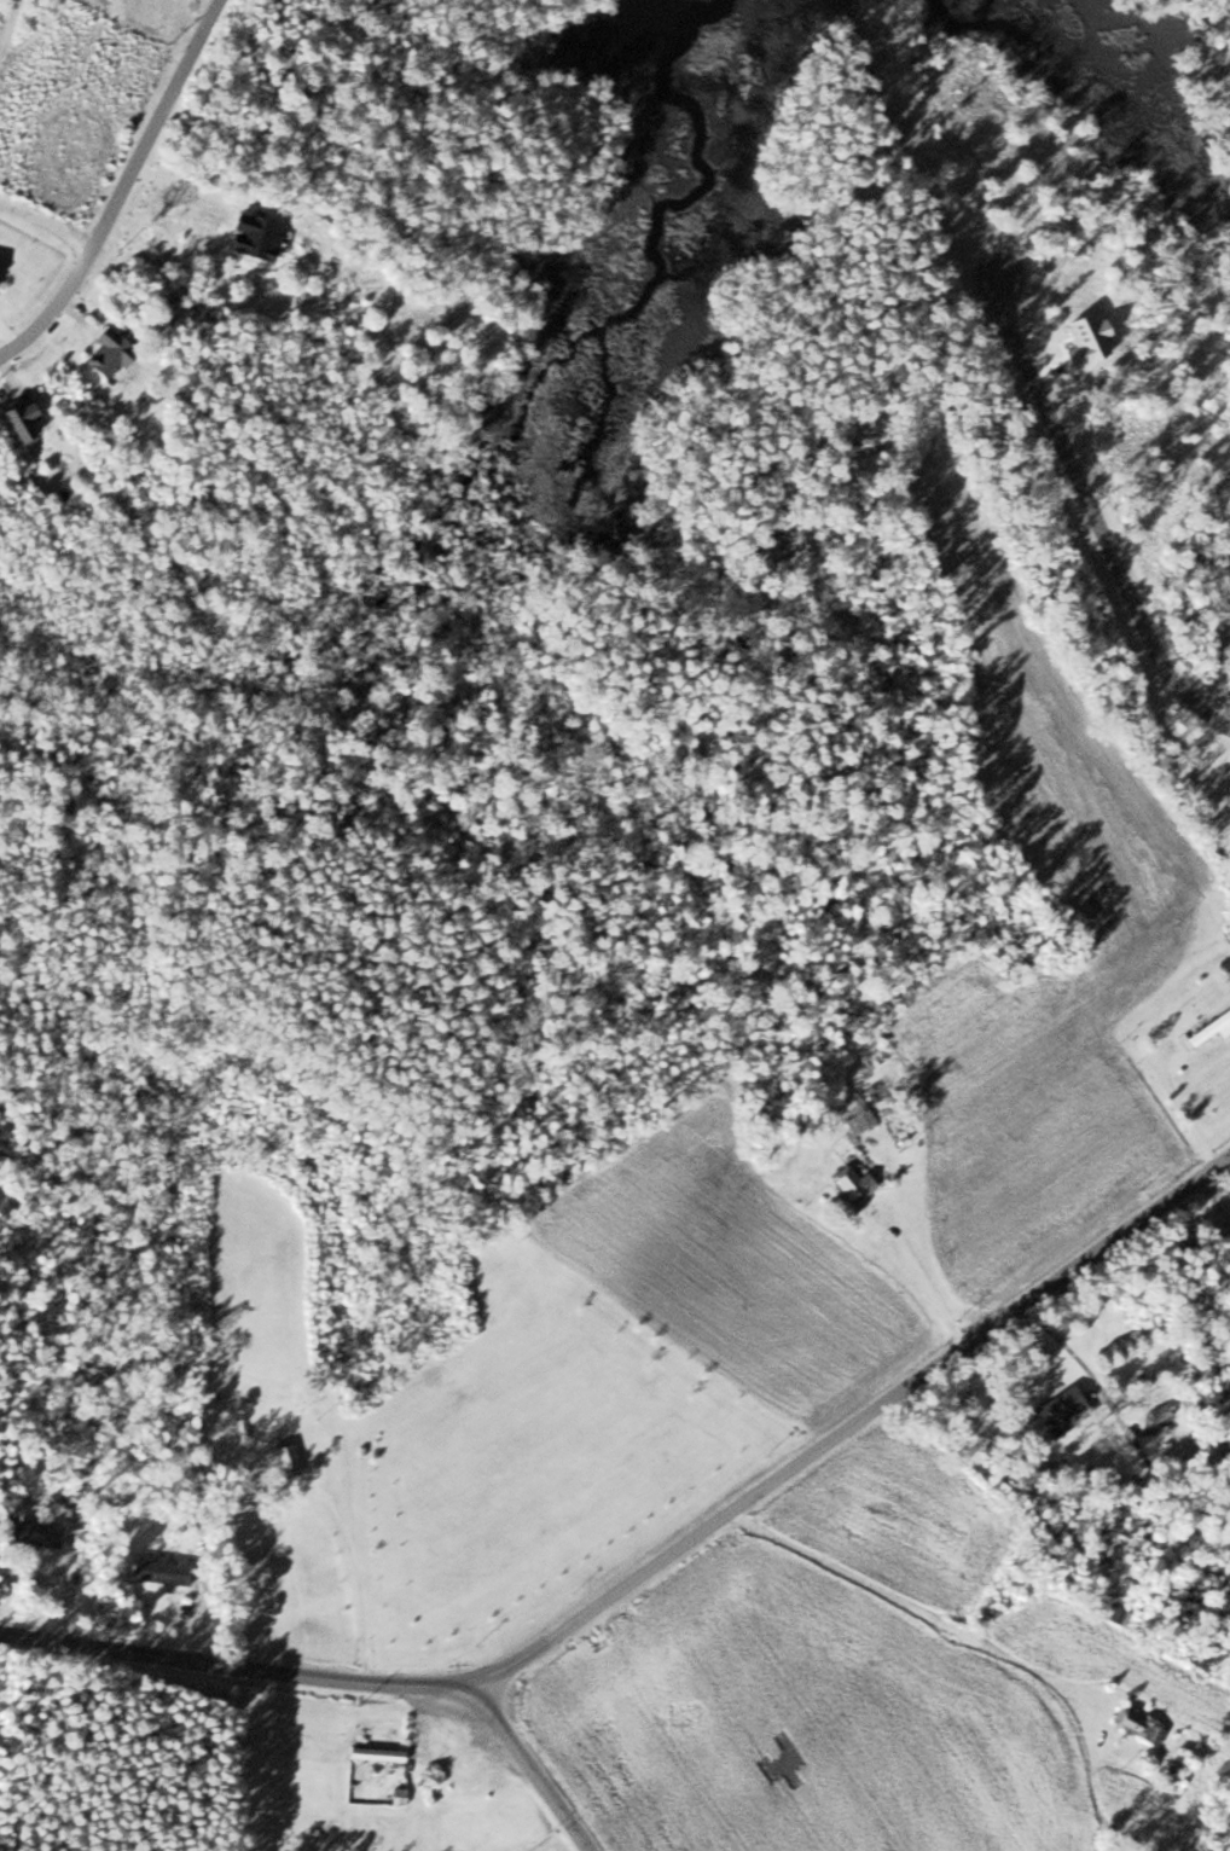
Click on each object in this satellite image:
road: (123, 188)
road: (1096, 513)
building: (860, 1119)
building: (848, 1184)
building: (1058, 1412)
building: (1158, 1414)
road: (853, 1421)
building: (284, 1456)
building: (30, 1533)
building: (158, 1573)
building: (1110, 1614)
road: (939, 1621)
road: (237, 1667)
building: (1137, 1727)
building: (375, 1754)
road: (533, 1770)

